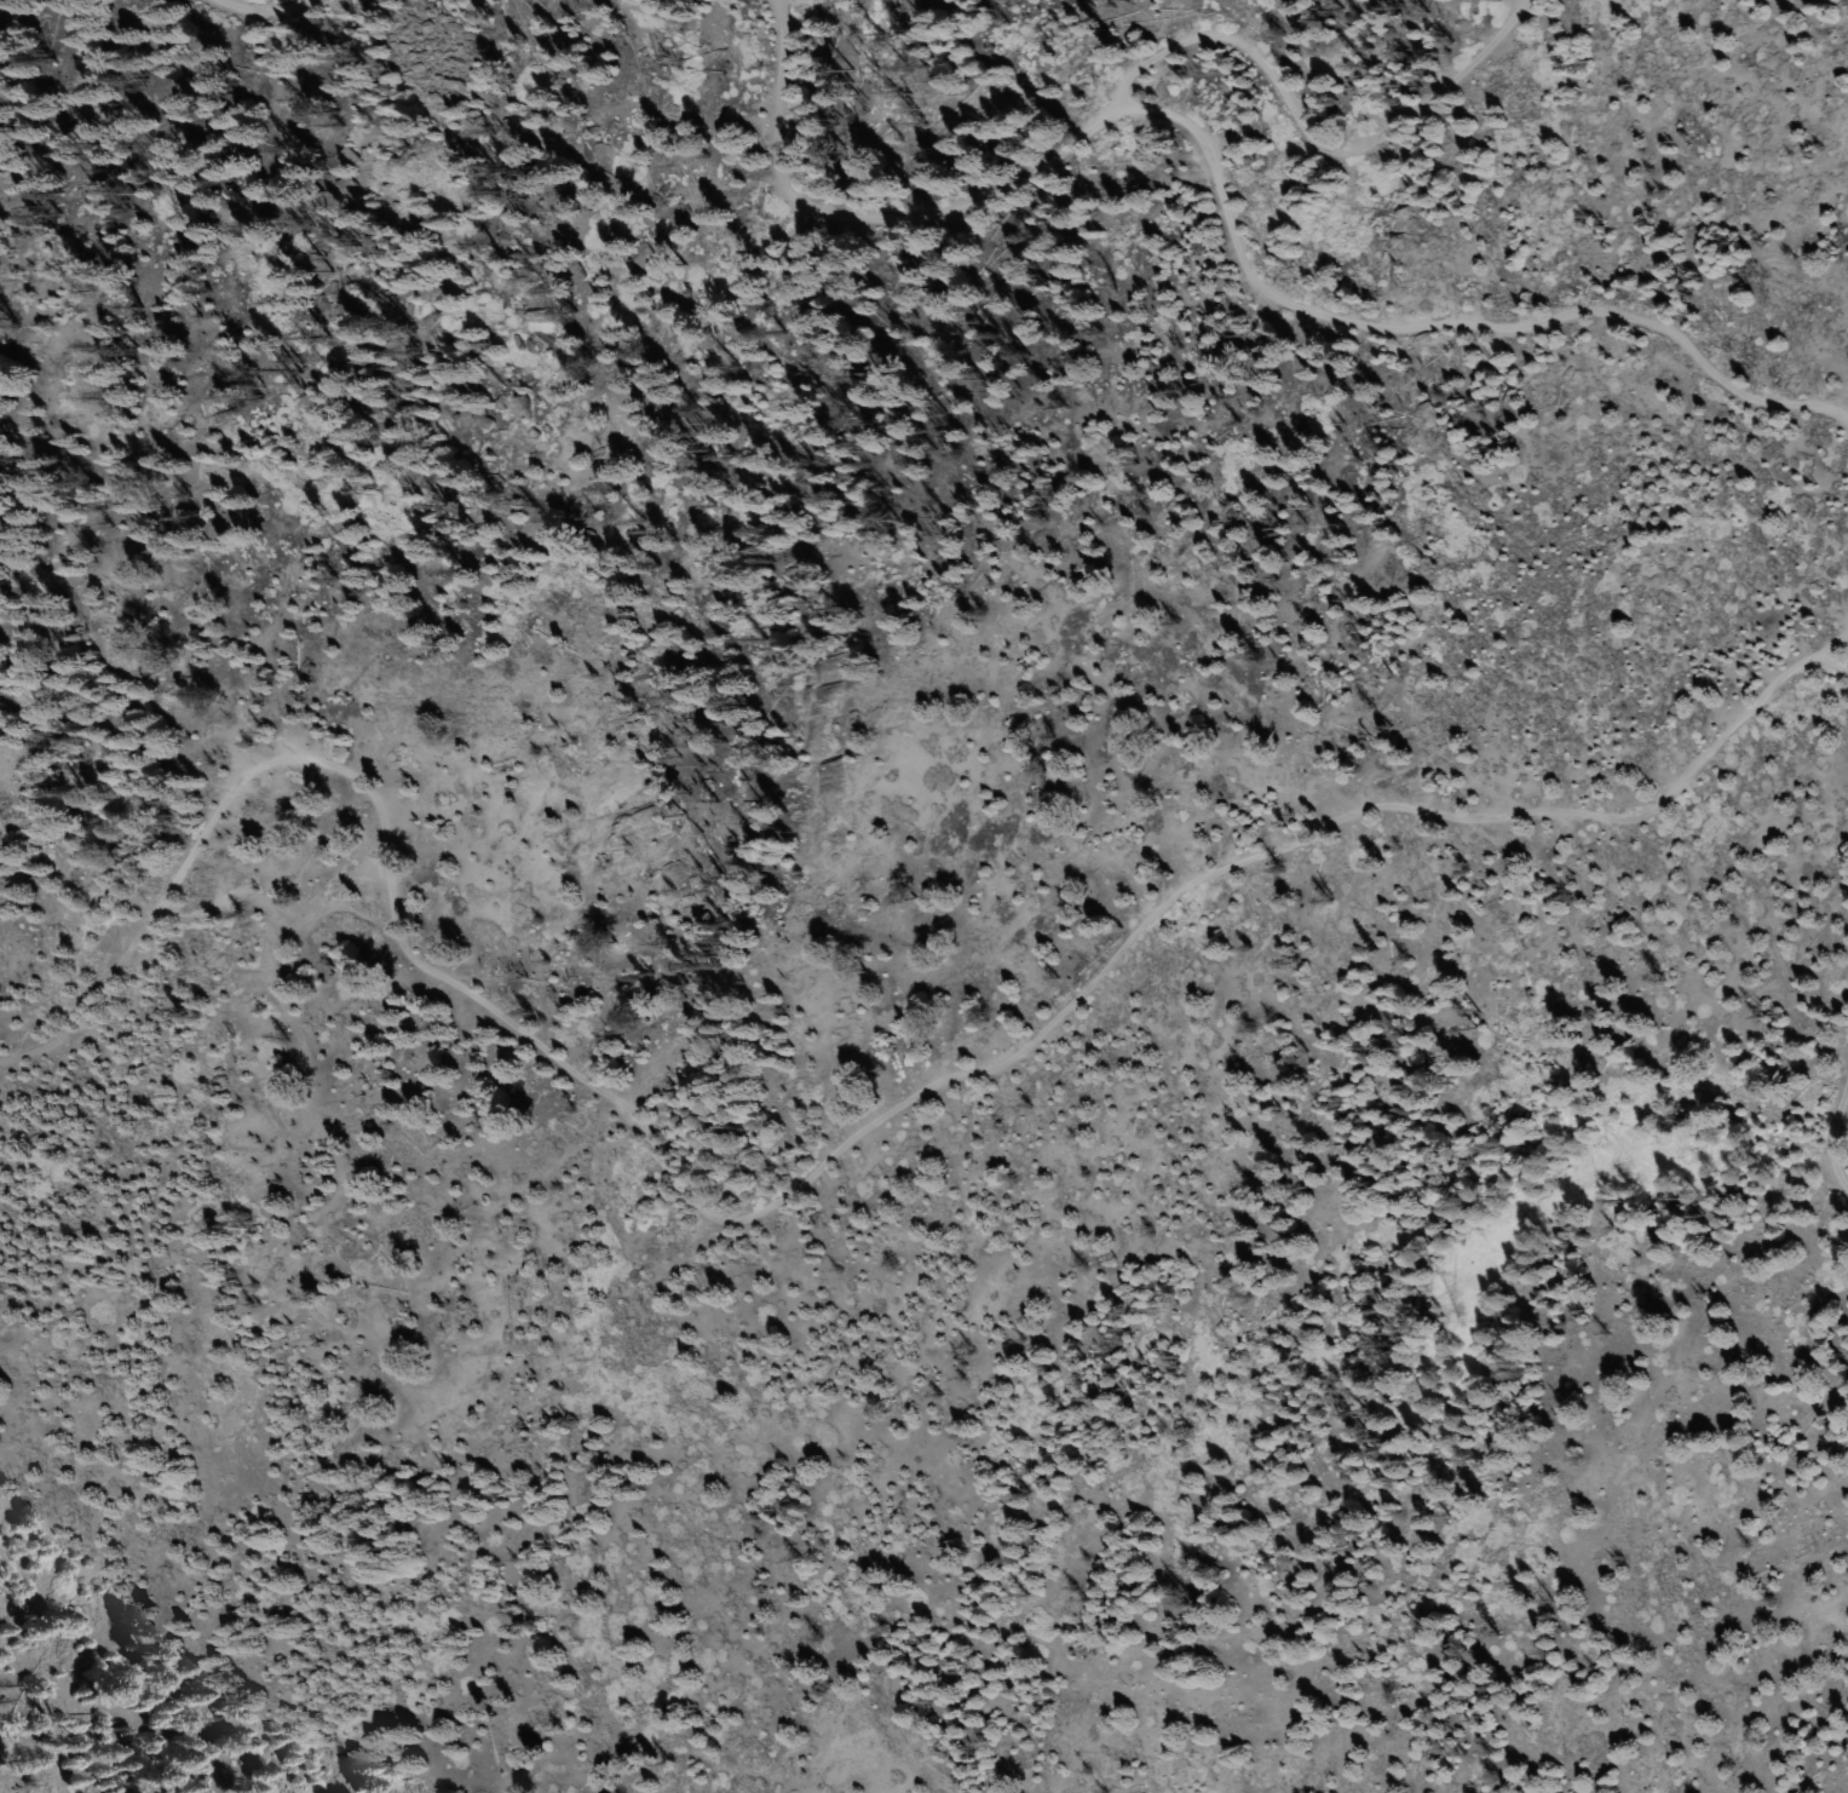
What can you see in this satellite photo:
road: (255, 12)
road: (1355, 155)
road: (1219, 206)
road: (1830, 662)
road: (1829, 1136)
road: (818, 1163)

